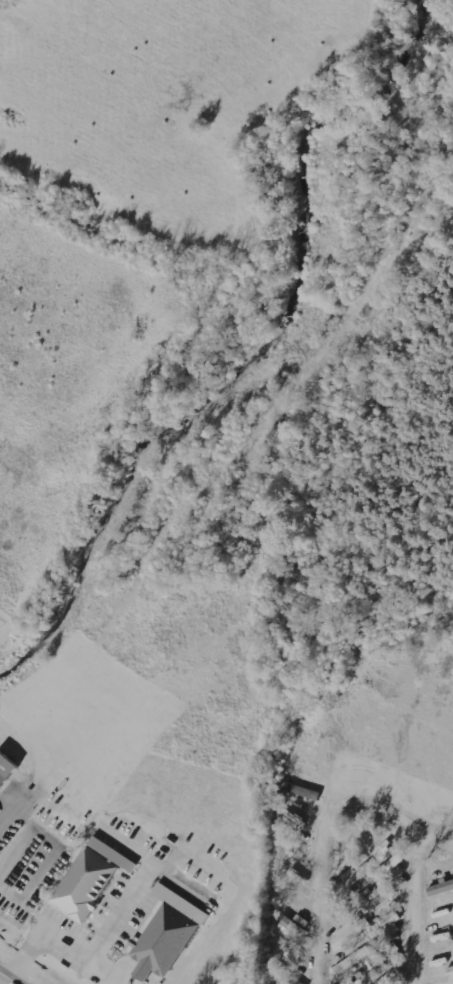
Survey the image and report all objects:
building: (4, 767)
road: (5, 815)
road: (318, 829)
building: (388, 869)
building: (355, 876)
building: (85, 885)
building: (441, 887)
building: (365, 895)
building: (384, 898)
road: (413, 906)
building: (386, 927)
building: (351, 931)
building: (169, 933)
road: (58, 941)
building: (451, 944)
building: (387, 954)
building: (353, 960)
building: (450, 972)
building: (394, 975)
road: (6, 980)

